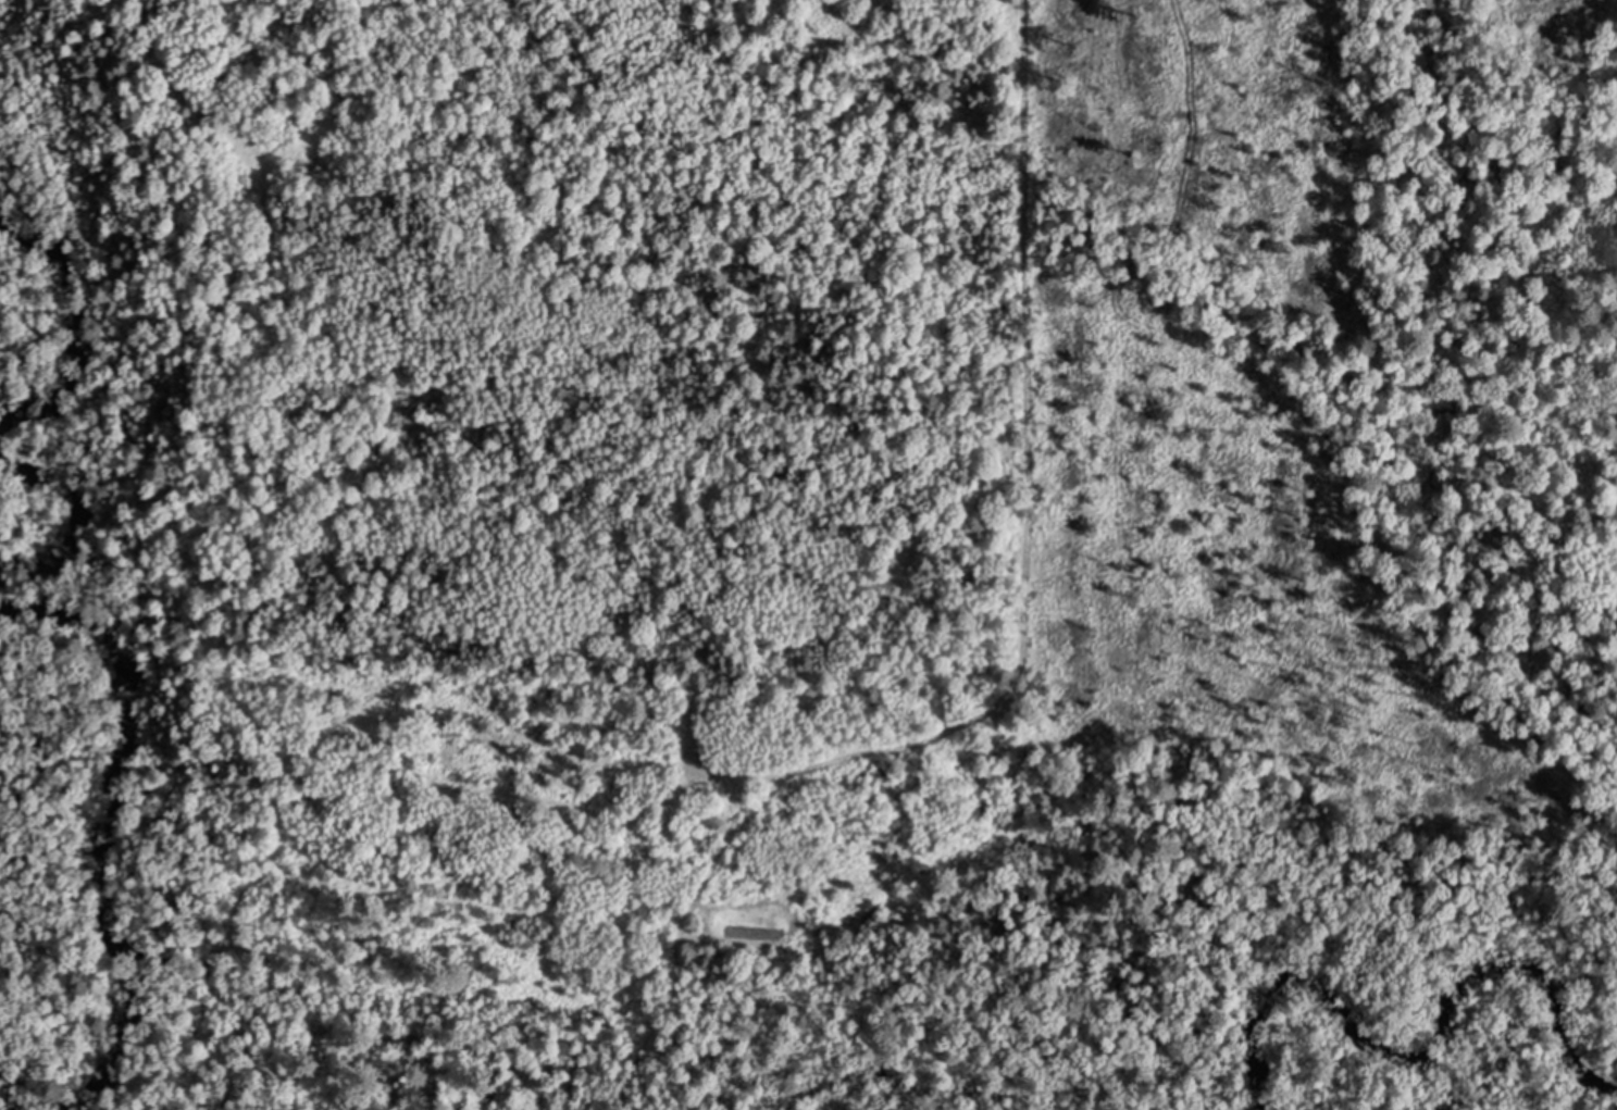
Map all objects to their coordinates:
river: (1405, 1056)

